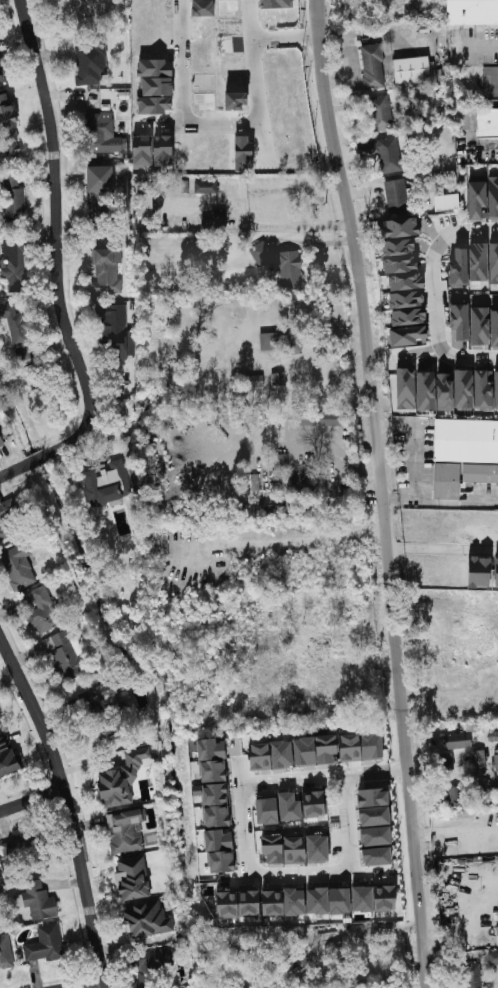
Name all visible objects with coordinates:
building: (275, 4)
building: (472, 12)
road: (286, 37)
road: (350, 41)
road: (477, 48)
road: (181, 61)
building: (90, 63)
building: (372, 66)
building: (411, 69)
building: (1, 79)
building: (380, 113)
road: (255, 115)
building: (479, 121)
building: (8, 129)
building: (104, 134)
road: (489, 148)
building: (383, 152)
building: (242, 153)
building: (205, 187)
road: (304, 189)
building: (100, 193)
building: (397, 193)
building: (493, 196)
building: (13, 199)
building: (477, 200)
building: (446, 202)
building: (145, 203)
road: (199, 205)
road: (289, 227)
building: (398, 227)
road: (464, 231)
road: (310, 245)
building: (478, 261)
building: (14, 263)
building: (280, 263)
building: (493, 263)
building: (401, 264)
road: (60, 266)
building: (458, 268)
building: (106, 271)
building: (406, 299)
road: (435, 301)
building: (408, 317)
building: (459, 322)
building: (15, 323)
building: (479, 327)
building: (494, 327)
building: (116, 329)
building: (408, 335)
building: (270, 341)
building: (294, 342)
building: (22, 355)
road: (470, 355)
building: (277, 379)
building: (405, 388)
building: (463, 388)
building: (496, 389)
building: (425, 390)
building: (444, 391)
building: (482, 391)
building: (322, 418)
road: (279, 440)
building: (466, 440)
building: (1, 442)
road: (413, 444)
building: (480, 473)
building: (306, 479)
building: (446, 481)
building: (107, 484)
road: (384, 492)
road: (441, 501)
road: (291, 539)
road: (444, 547)
building: (18, 567)
building: (479, 572)
building: (496, 572)
building: (44, 610)
building: (66, 655)
road: (434, 693)
building: (109, 699)
building: (0, 718)
building: (457, 740)
building: (360, 746)
building: (315, 750)
building: (270, 755)
building: (7, 758)
building: (478, 759)
building: (212, 760)
building: (447, 761)
building: (496, 762)
road: (434, 774)
road: (335, 778)
building: (121, 779)
building: (480, 793)
building: (454, 795)
road: (34, 800)
road: (71, 801)
building: (313, 803)
building: (215, 805)
building: (289, 807)
building: (373, 807)
building: (266, 811)
building: (125, 831)
building: (375, 836)
building: (272, 848)
building: (317, 848)
building: (16, 849)
building: (220, 850)
building: (294, 850)
building: (376, 856)
road: (293, 876)
building: (132, 878)
building: (373, 898)
building: (37, 900)
building: (294, 901)
building: (328, 901)
building: (272, 902)
building: (237, 904)
building: (146, 920)
building: (497, 934)
building: (45, 944)
building: (5, 951)
building: (294, 951)
building: (493, 957)
building: (151, 966)
building: (472, 976)
road: (91, 985)

